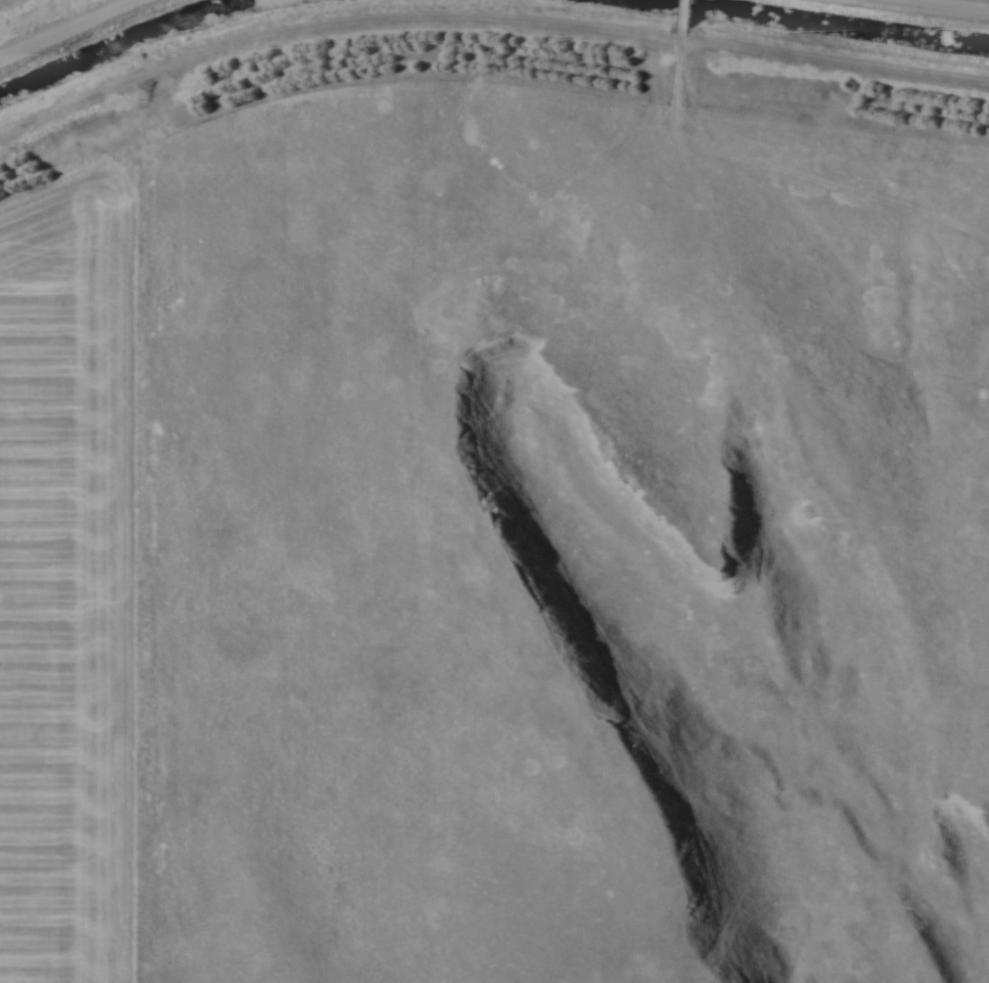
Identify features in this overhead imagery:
road: (955, 4)
road: (73, 30)

